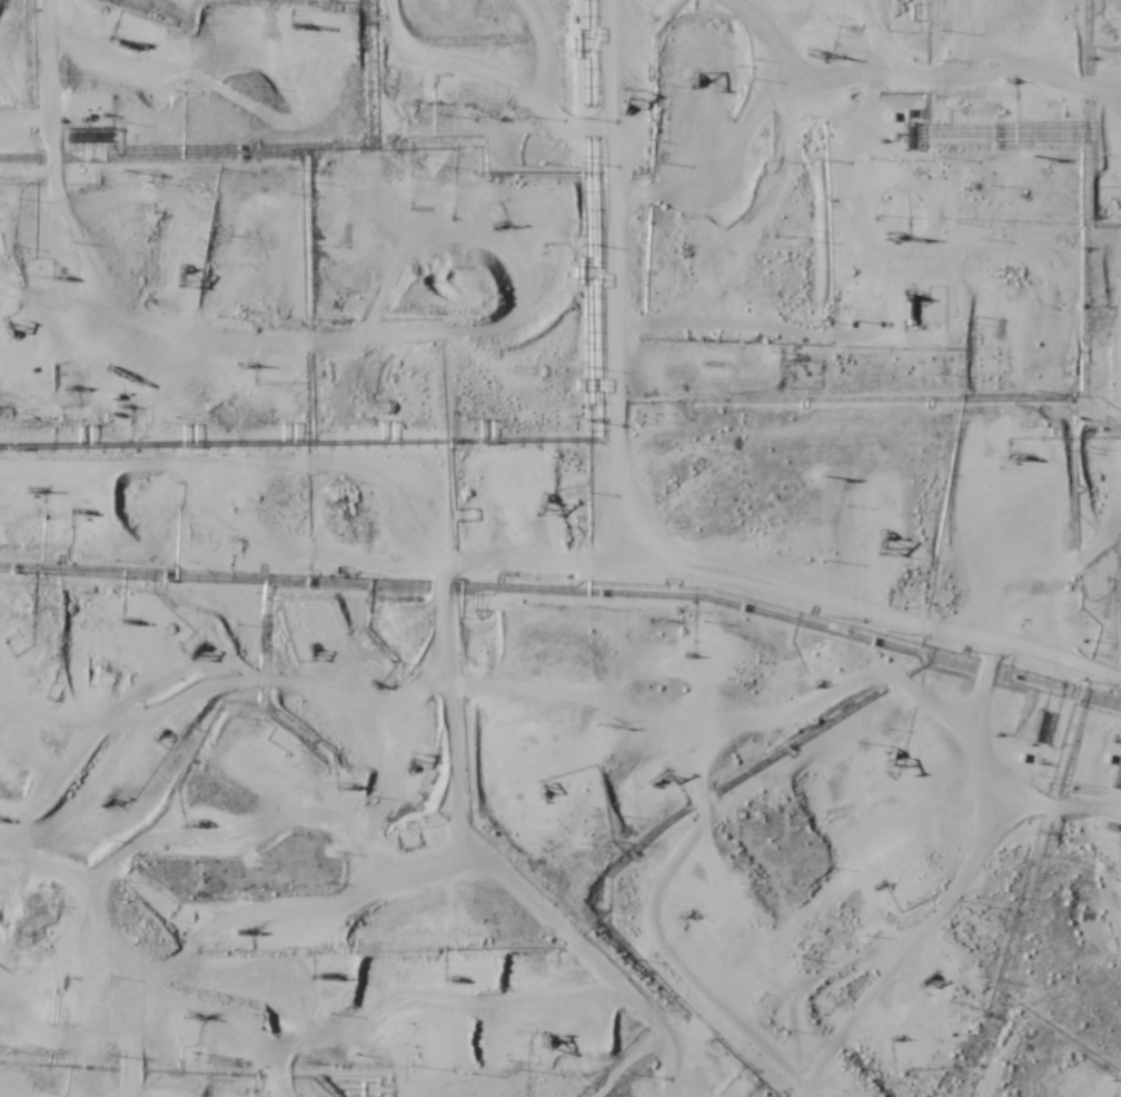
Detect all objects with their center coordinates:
road: (1098, 152)
road: (493, 170)
road: (395, 344)
road: (503, 624)
road: (696, 788)
road: (820, 844)
road: (827, 958)
road: (691, 1065)

